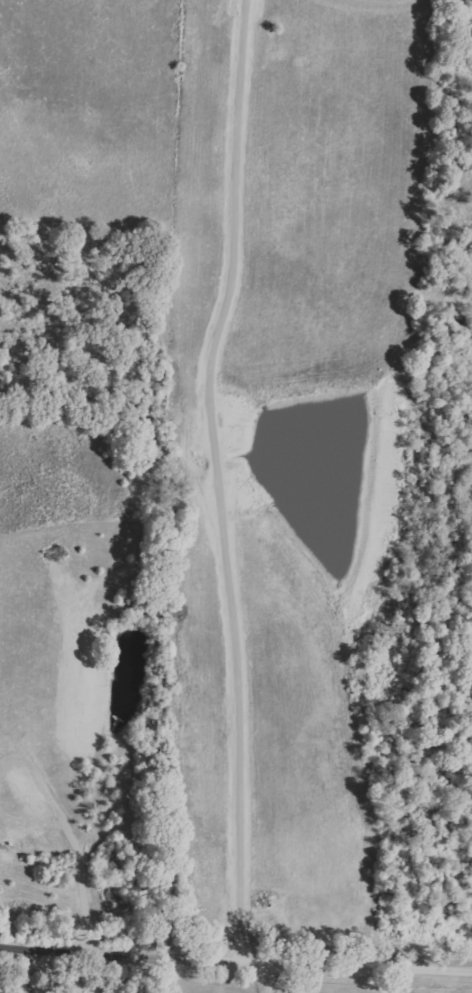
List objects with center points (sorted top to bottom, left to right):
road: (235, 963)
road: (28, 969)
road: (270, 980)

